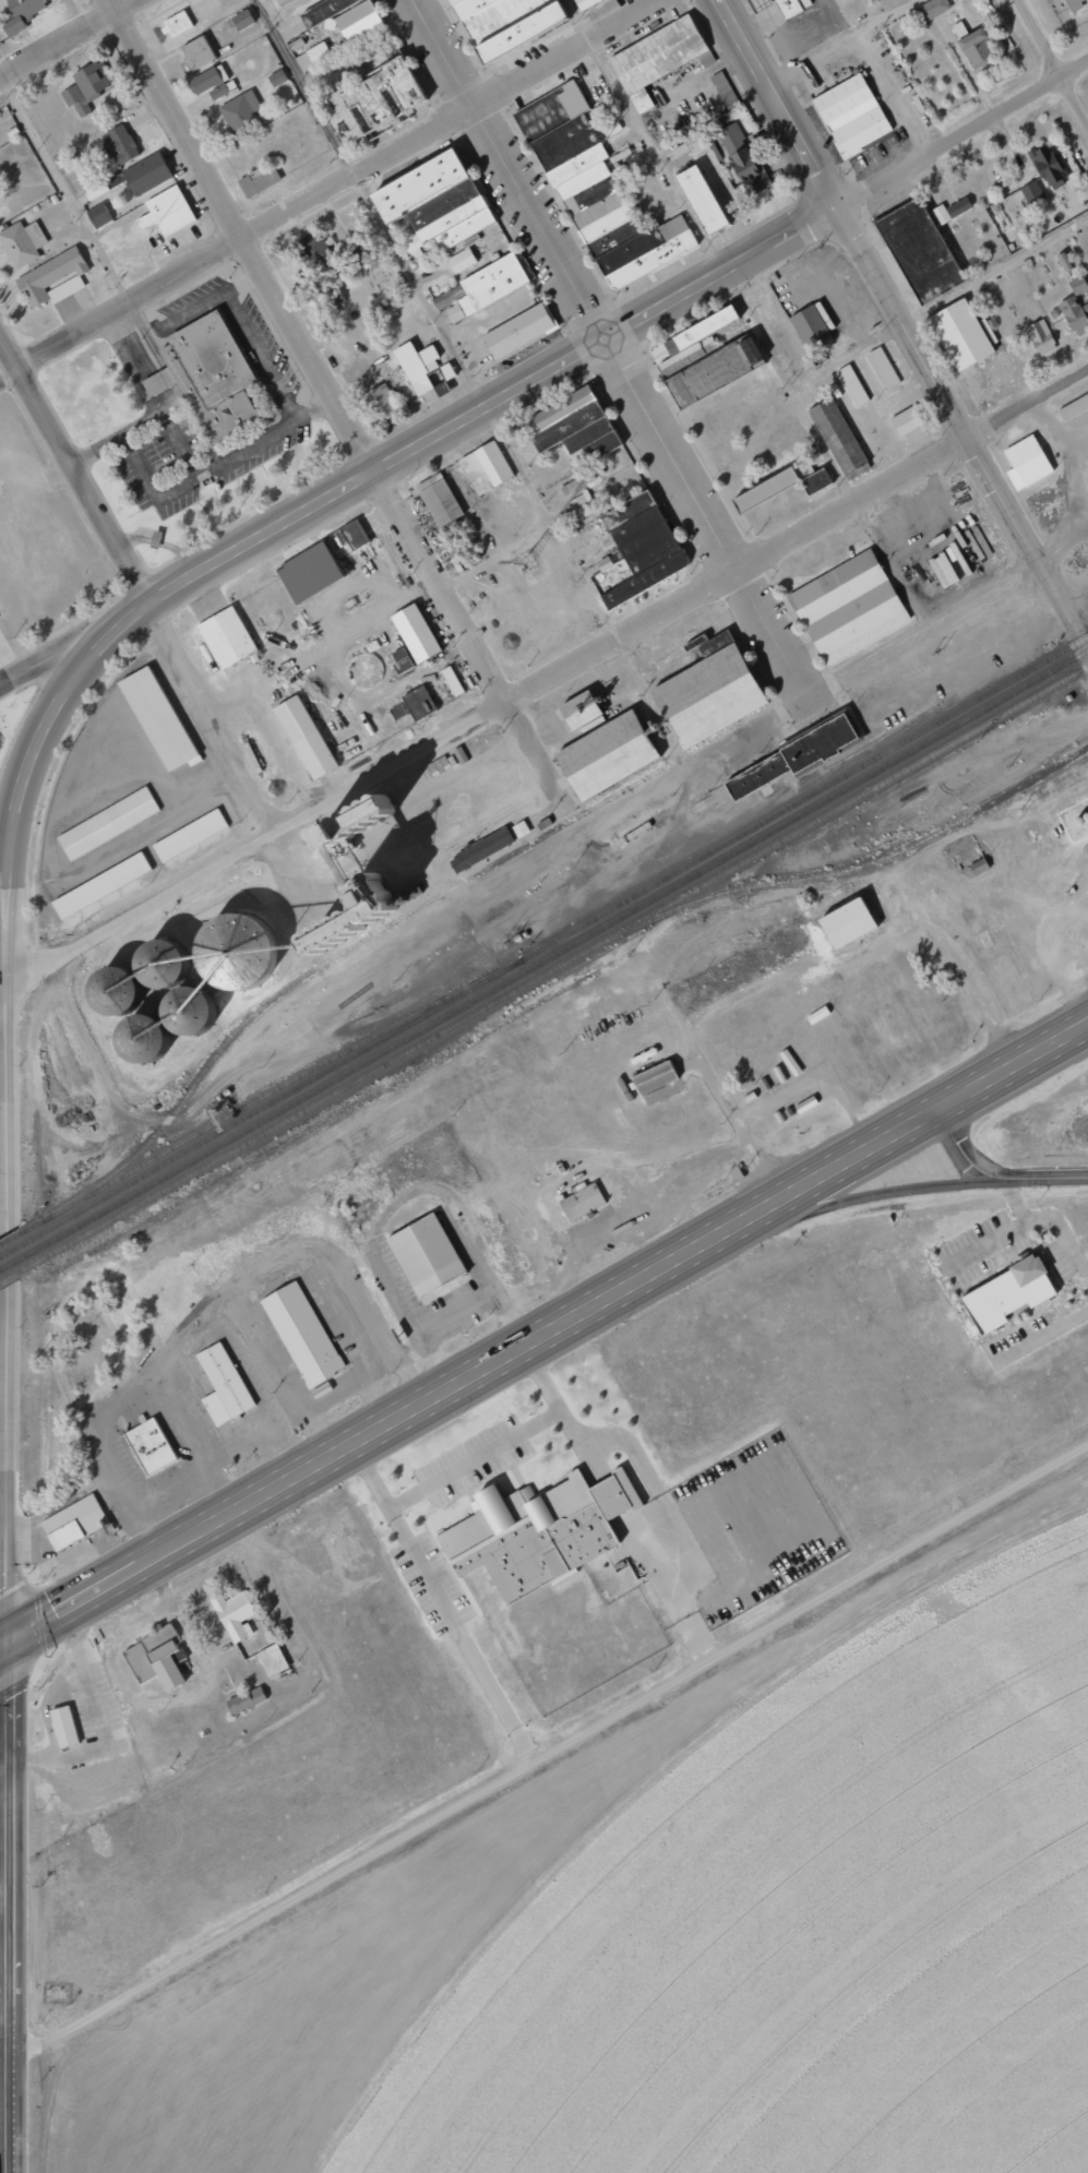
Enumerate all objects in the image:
building: (283, 1)
building: (791, 2)
building: (584, 3)
building: (758, 3)
building: (932, 9)
building: (324, 11)
building: (22, 13)
building: (242, 20)
building: (358, 21)
building: (505, 23)
building: (176, 24)
road: (67, 38)
road: (834, 39)
building: (660, 48)
building: (976, 49)
building: (196, 52)
building: (318, 53)
road: (563, 55)
road: (1052, 59)
building: (276, 77)
building: (210, 82)
building: (720, 82)
building: (87, 86)
building: (372, 100)
road: (778, 102)
building: (851, 103)
building: (241, 114)
road: (963, 131)
building: (693, 142)
building: (119, 144)
building: (746, 148)
building: (1048, 166)
building: (146, 174)
building: (259, 179)
building: (704, 183)
road: (63, 191)
building: (597, 192)
building: (701, 200)
building: (433, 203)
building: (1015, 203)
building: (950, 210)
building: (167, 212)
building: (98, 215)
building: (920, 236)
building: (22, 242)
road: (234, 242)
building: (314, 249)
road: (718, 250)
road: (994, 259)
building: (462, 260)
building: (1065, 261)
road: (722, 270)
building: (489, 275)
building: (52, 279)
building: (1077, 285)
building: (337, 306)
building: (707, 313)
building: (1075, 315)
building: (519, 320)
road: (437, 321)
building: (961, 321)
building: (811, 329)
building: (1040, 337)
road: (611, 346)
building: (717, 355)
building: (211, 367)
building: (431, 371)
building: (852, 385)
road: (337, 405)
building: (383, 405)
building: (906, 421)
road: (963, 429)
building: (575, 431)
building: (837, 435)
building: (1087, 462)
building: (1026, 463)
building: (486, 467)
road: (75, 468)
road: (380, 469)
road: (910, 470)
building: (766, 474)
building: (583, 481)
building: (815, 481)
building: (764, 490)
building: (439, 500)
building: (579, 503)
road: (535, 517)
building: (351, 535)
road: (546, 541)
building: (642, 546)
road: (481, 558)
building: (308, 573)
building: (848, 607)
building: (416, 621)
building: (228, 625)
road: (75, 642)
building: (400, 660)
building: (712, 680)
building: (452, 681)
building: (418, 704)
building: (159, 706)
building: (397, 712)
building: (582, 714)
park: (13, 721)
road: (55, 723)
building: (304, 738)
building: (610, 740)
building: (796, 741)
building: (791, 759)
building: (438, 766)
road: (367, 784)
building: (108, 812)
building: (190, 824)
building: (480, 850)
road: (7, 862)
railway: (862, 865)
building: (103, 873)
building: (100, 886)
building: (850, 905)
building: (351, 914)
building: (847, 922)
road: (11, 932)
railway: (558, 940)
railway: (558, 953)
railway: (327, 962)
railway: (557, 967)
building: (177, 982)
building: (656, 1063)
building: (654, 1077)
road: (11, 1086)
railway: (249, 1103)
road: (929, 1115)
road: (968, 1154)
road: (1049, 1179)
building: (583, 1189)
road: (889, 1193)
building: (581, 1202)
railway: (16, 1237)
building: (425, 1240)
railway: (13, 1251)
railway: (14, 1263)
railway: (13, 1276)
building: (1006, 1285)
building: (302, 1325)
park: (107, 1340)
building: (226, 1368)
building: (216, 1397)
road: (4, 1413)
road: (386, 1426)
building: (152, 1433)
road: (374, 1477)
building: (73, 1512)
building: (539, 1515)
building: (236, 1601)
road: (453, 1615)
road: (1, 1644)
traffic signals: (3, 1644)
building: (159, 1644)
building: (274, 1648)
building: (249, 1688)
building: (246, 1700)
building: (64, 1711)
building: (63, 1727)
road: (522, 1736)
road: (546, 1742)
road: (4, 1908)

